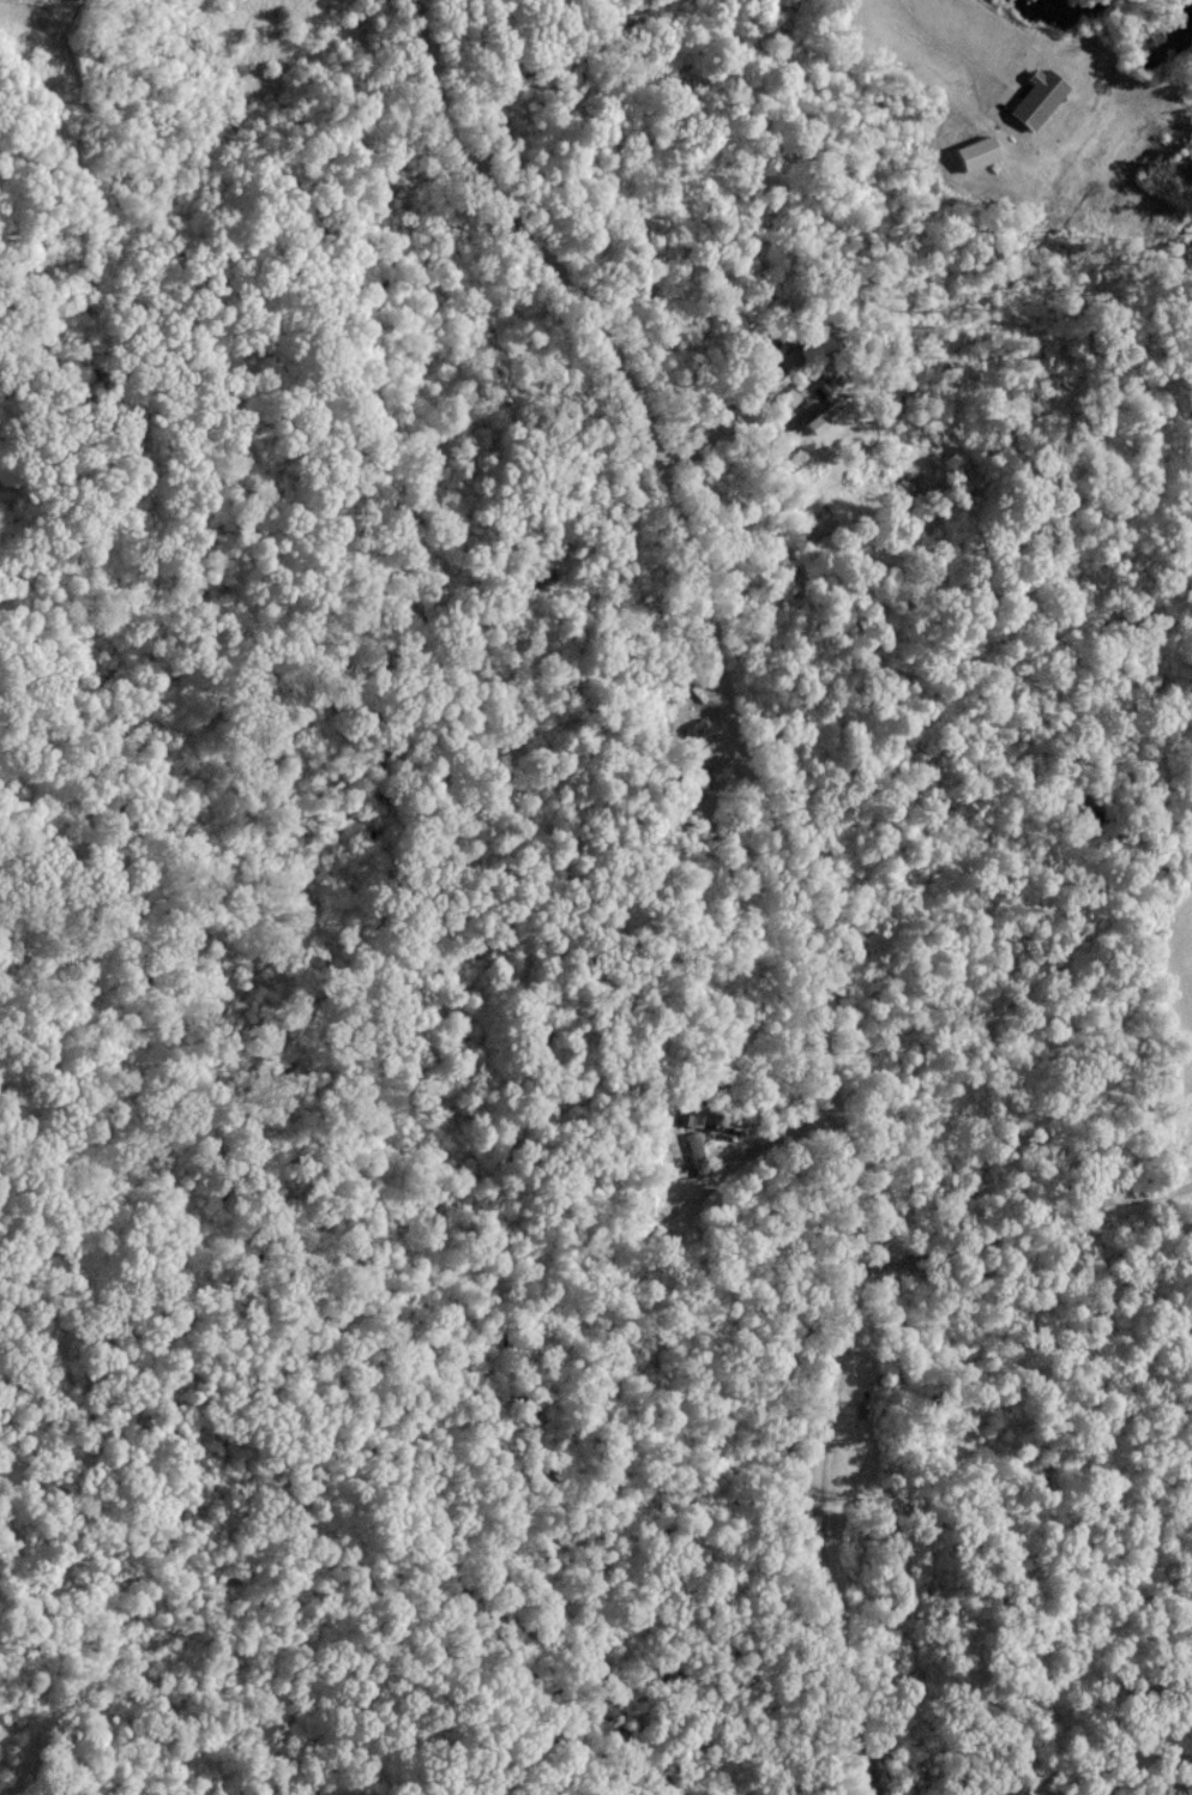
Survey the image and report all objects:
road: (941, 41)
building: (1041, 97)
building: (981, 151)
building: (817, 345)
building: (829, 416)
road: (712, 439)
road: (778, 862)
road: (1022, 1217)

